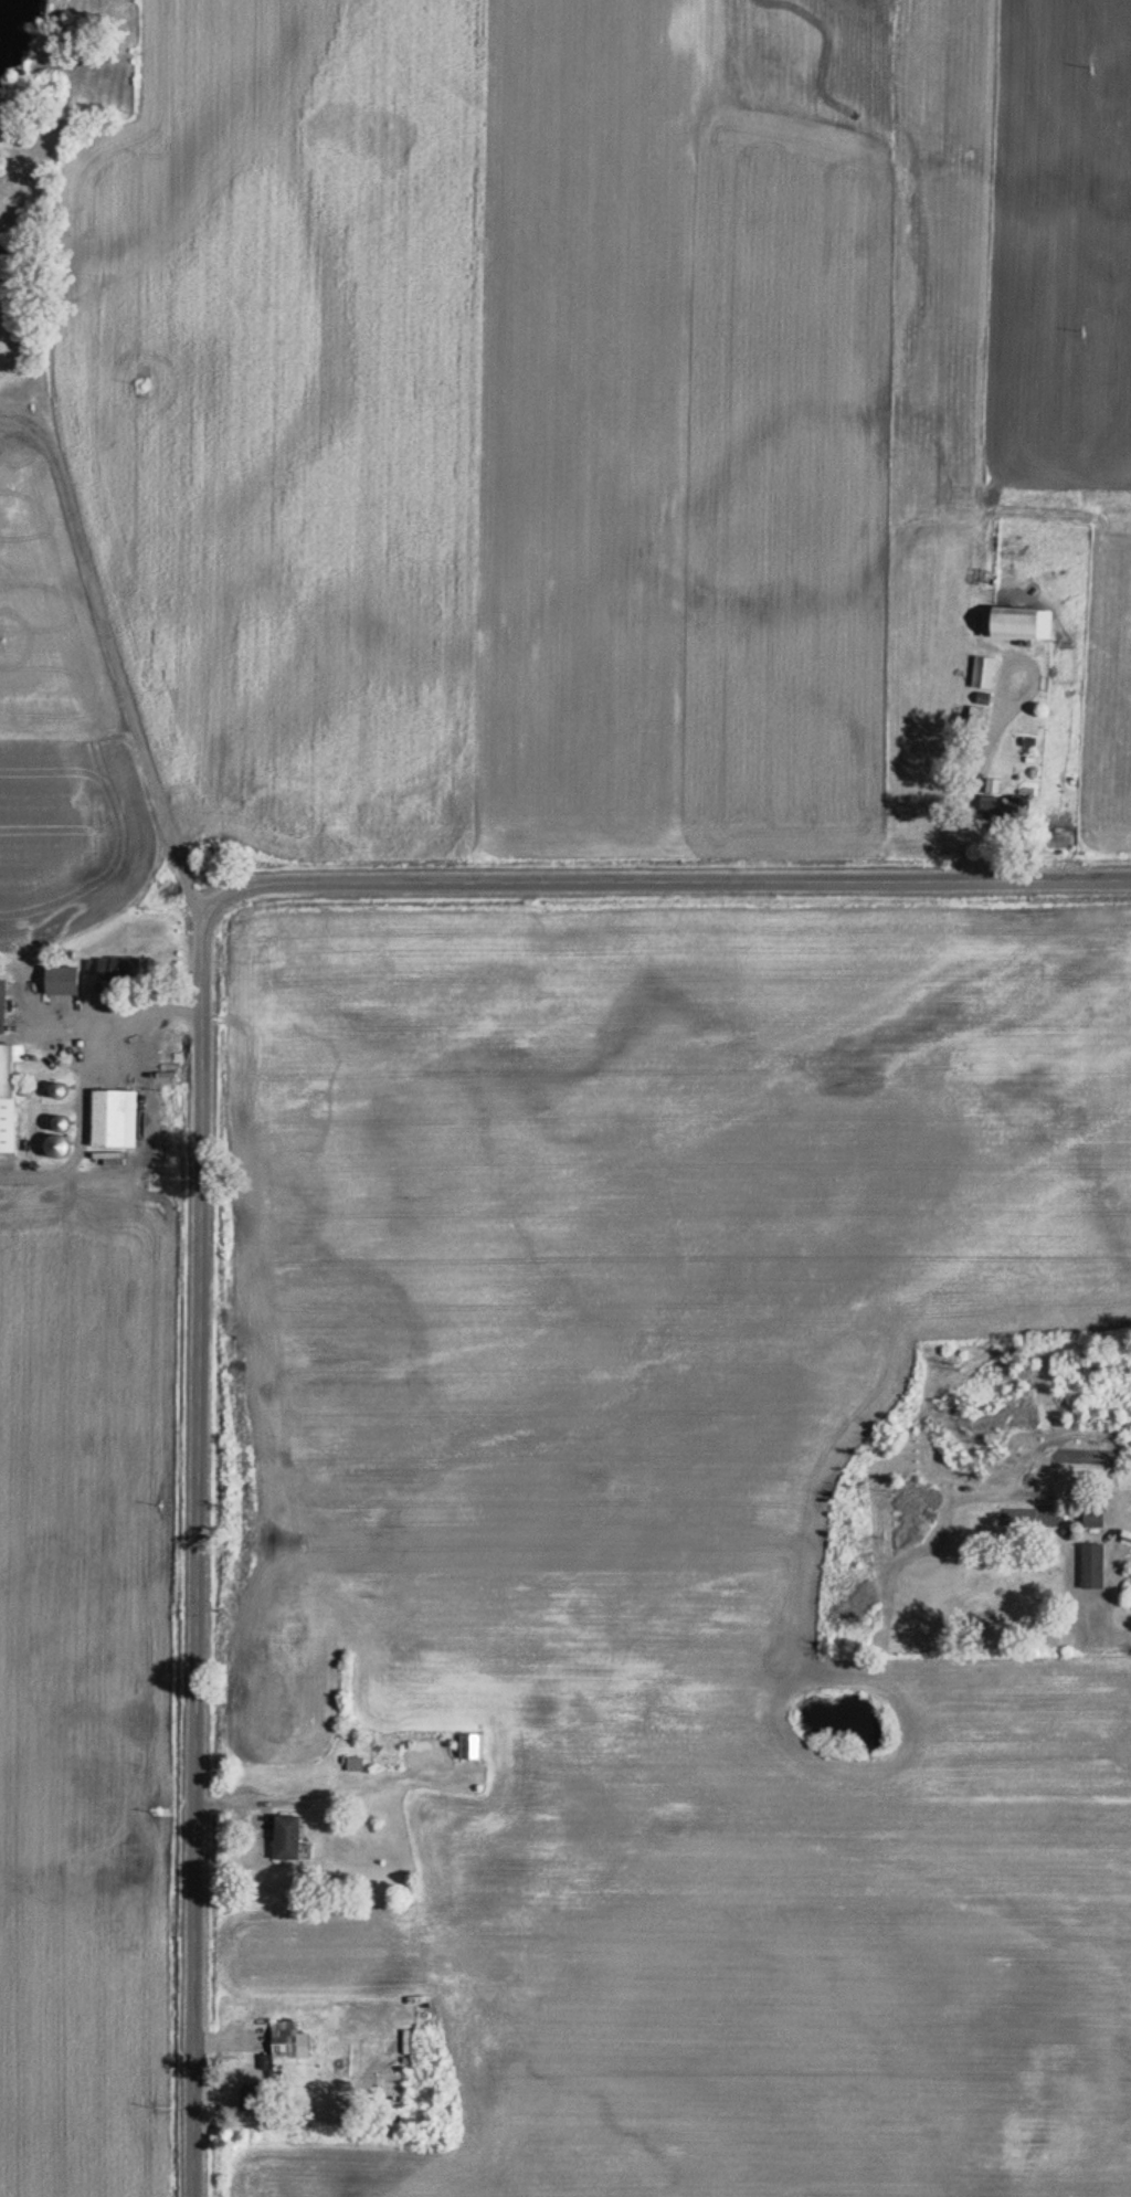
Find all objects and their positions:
building: (4, 253)
road: (13, 415)
road: (46, 476)
building: (1016, 624)
building: (987, 673)
building: (981, 717)
road: (997, 721)
building: (1005, 809)
road: (668, 880)
building: (128, 968)
building: (68, 979)
building: (4, 1005)
building: (9, 1070)
road: (87, 1080)
building: (117, 1117)
building: (64, 1140)
road: (1116, 1512)
building: (1098, 1515)
road: (200, 1551)
building: (1097, 1565)
building: (475, 1745)
building: (358, 1763)
building: (294, 1837)
building: (288, 2040)
building: (257, 2095)

